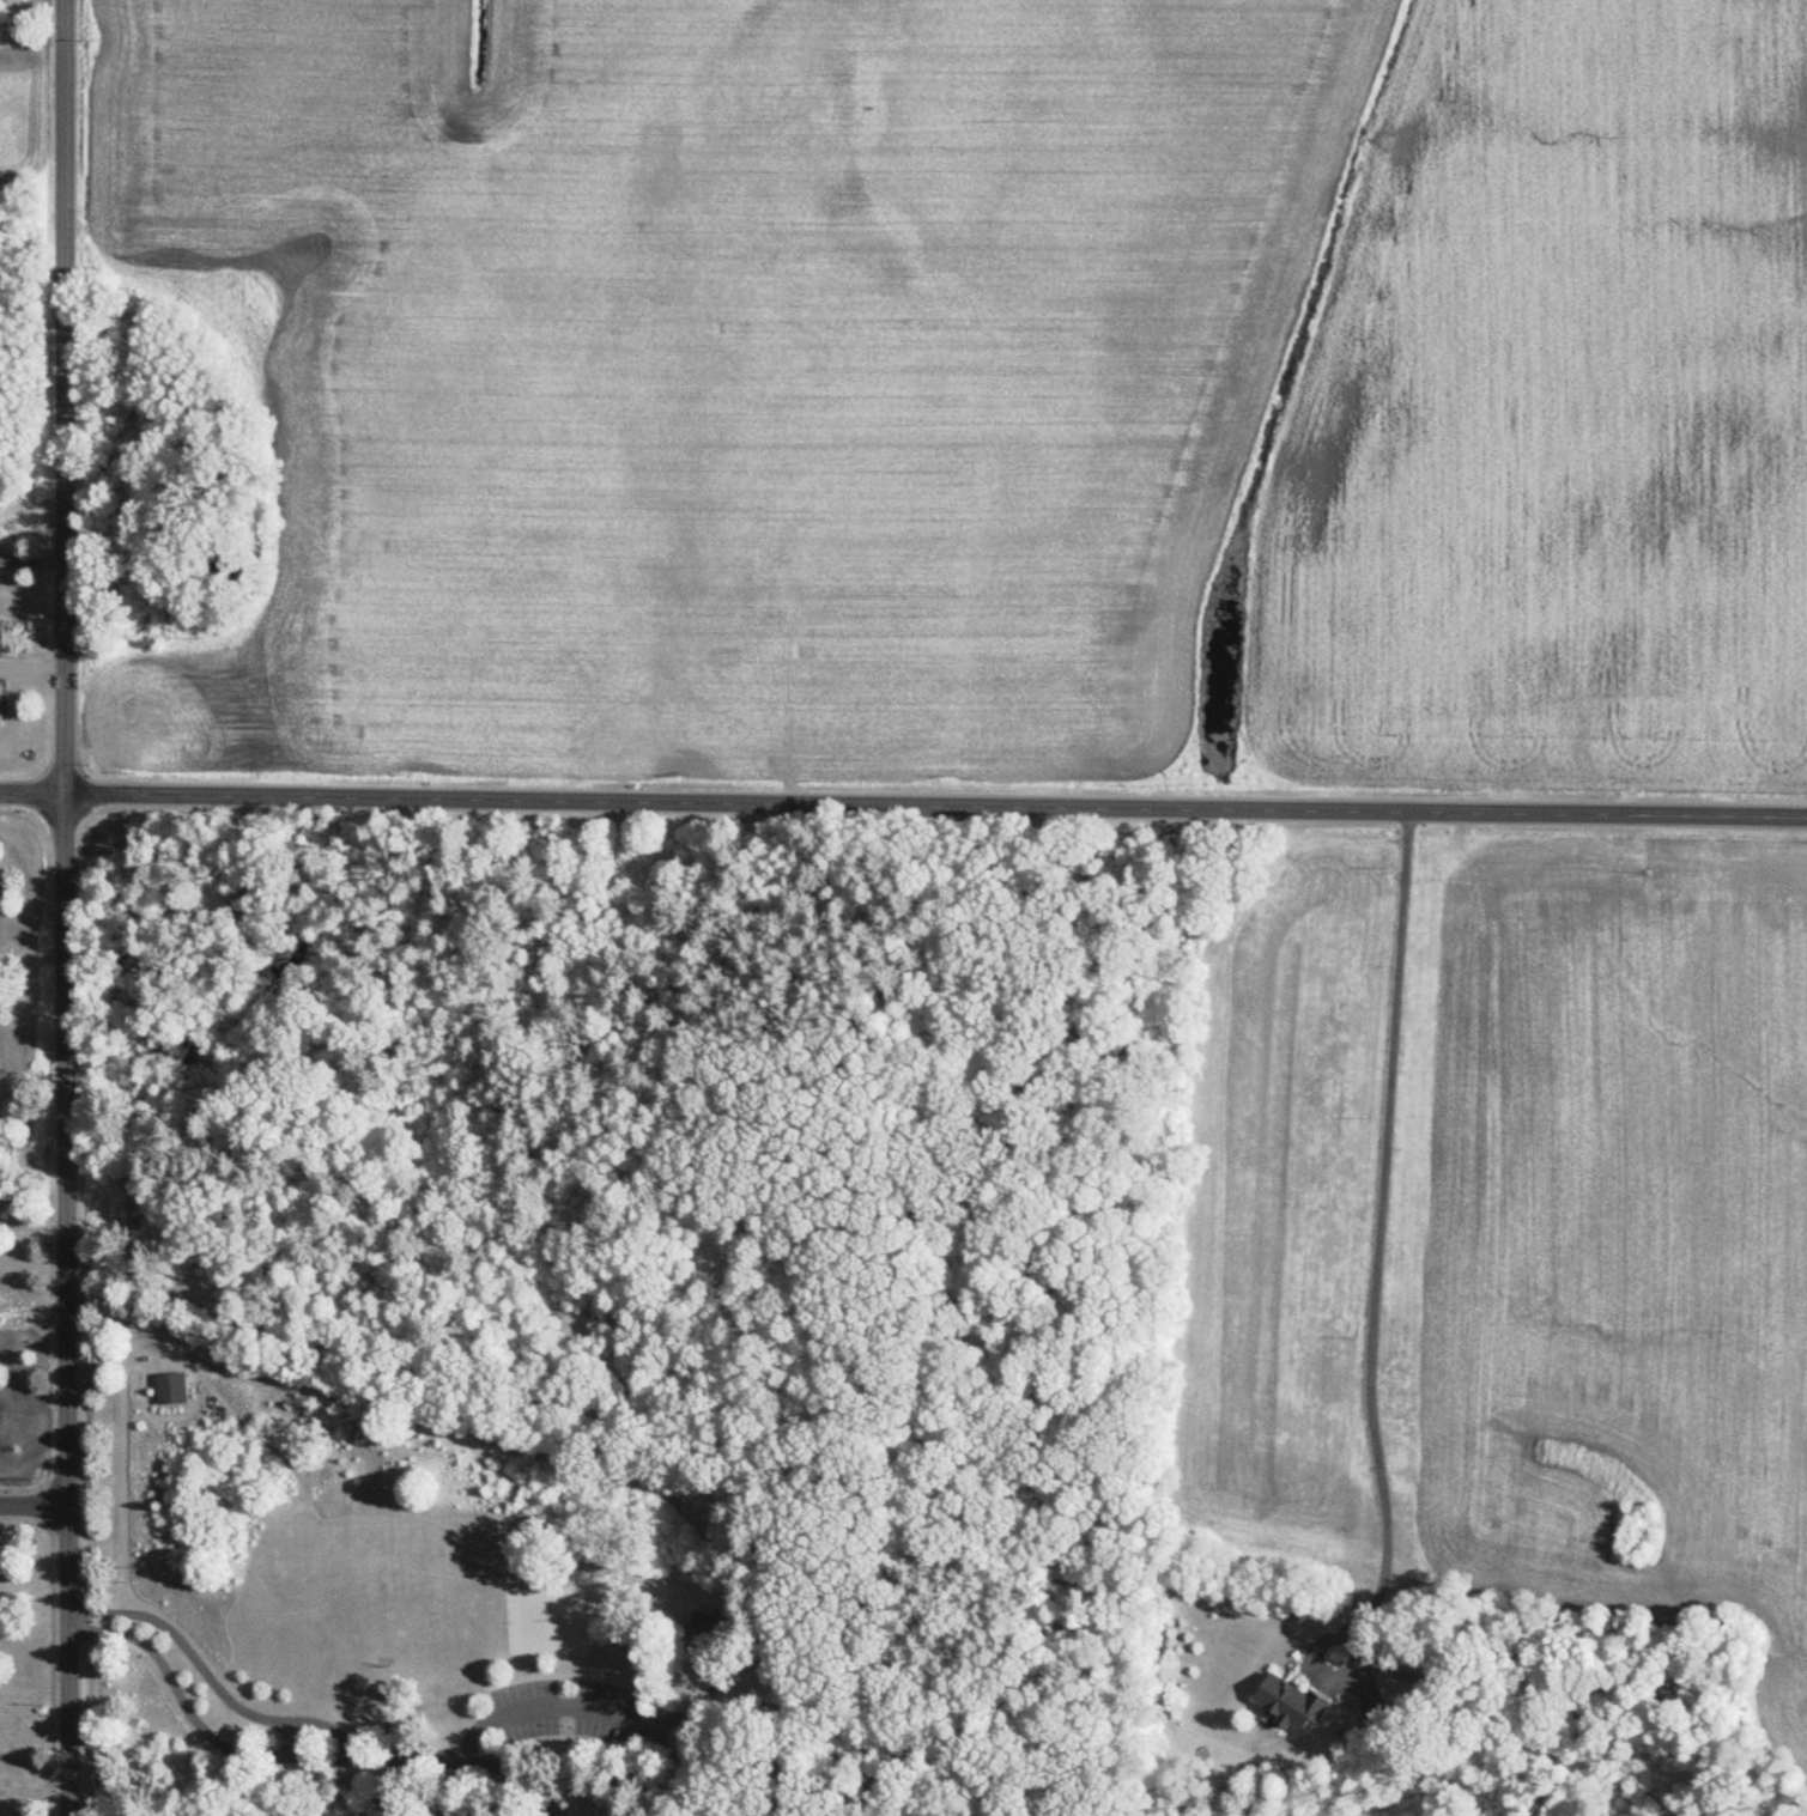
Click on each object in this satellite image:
building: (1, 697)
road: (903, 804)
road: (67, 907)
park: (631, 1312)
road: (1374, 1314)
building: (172, 1387)
road: (35, 1505)
building: (560, 1620)
building: (707, 1629)
building: (1292, 1703)
road: (507, 1713)
building: (1377, 1713)
road: (287, 1739)
road: (372, 1756)
road: (516, 1772)

